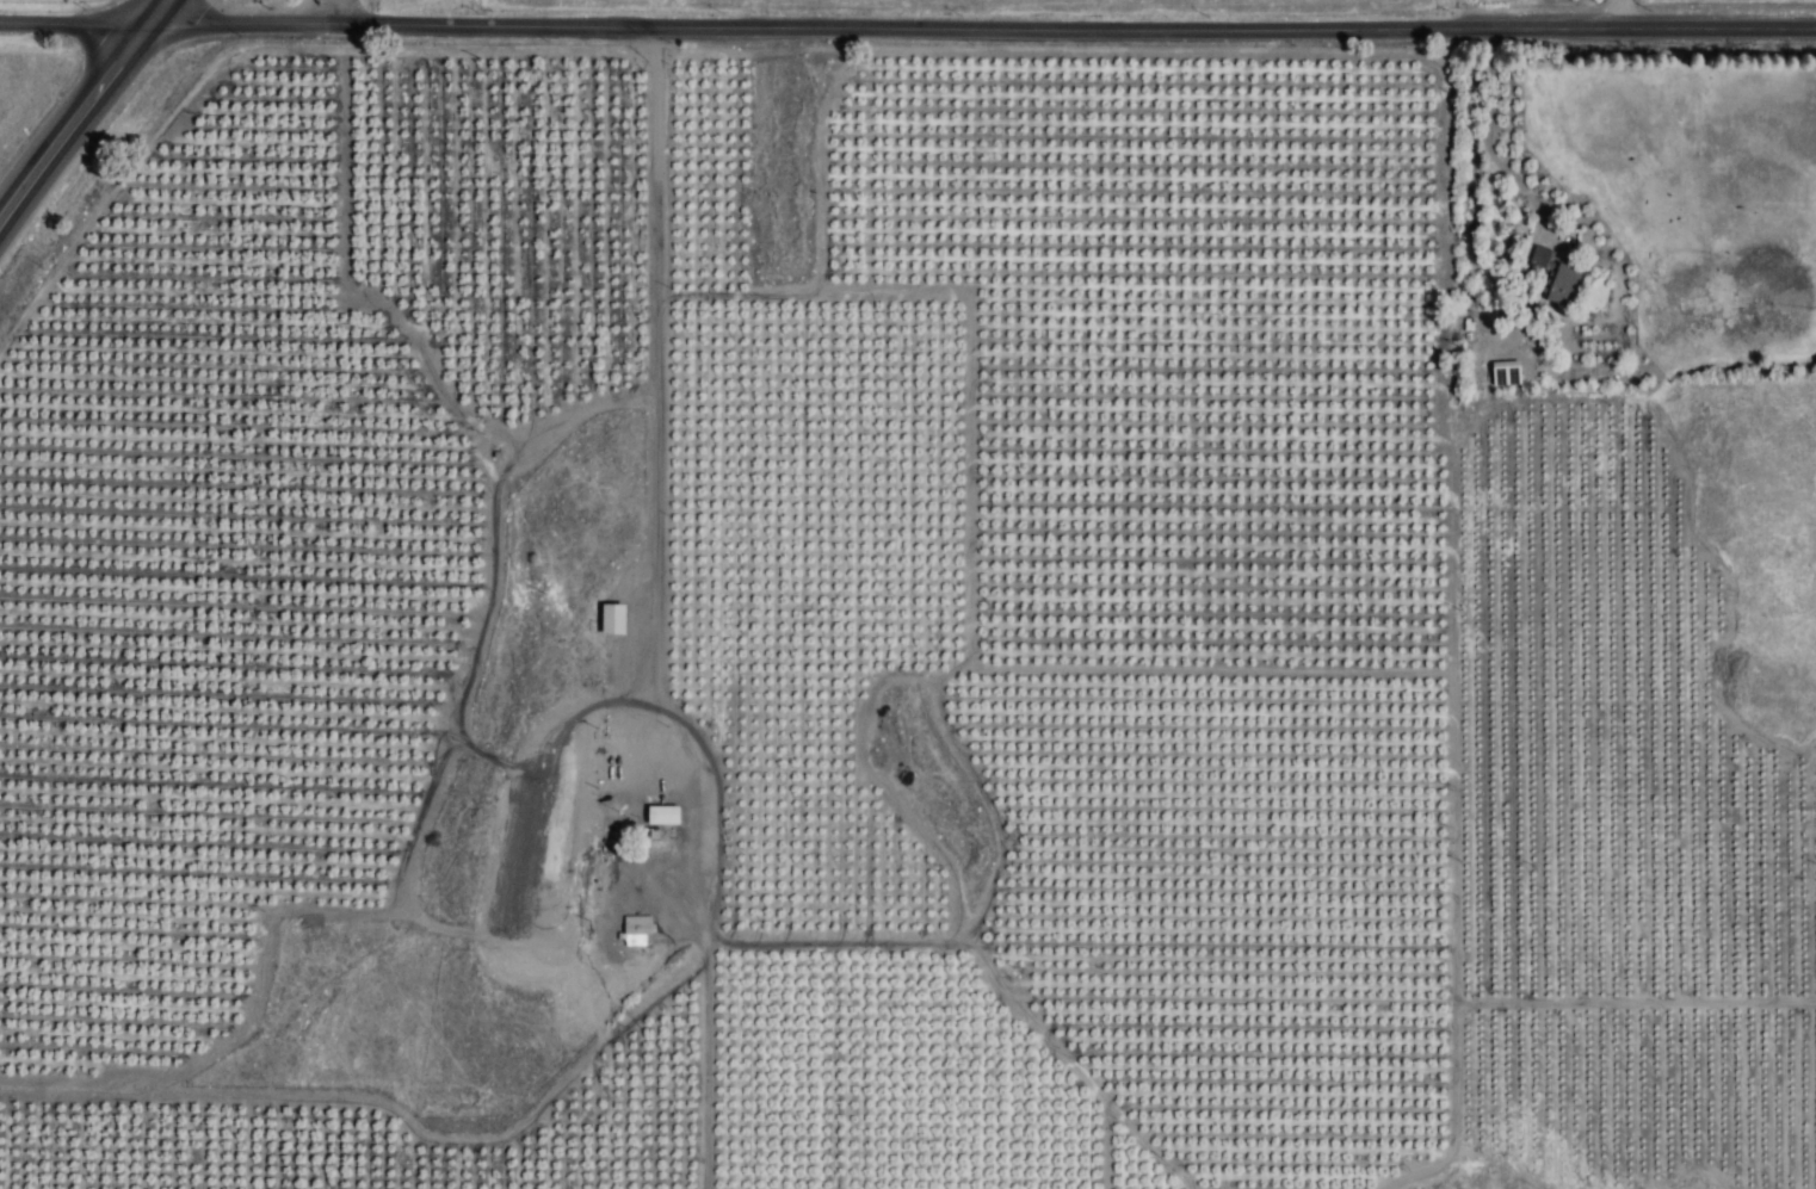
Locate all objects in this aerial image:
crop: (1650, 2)
crop: (154, 36)
road: (907, 41)
road: (82, 110)
building: (1562, 283)
building: (54, 459)
road: (656, 490)
crop: (929, 611)
building: (612, 620)
building: (662, 816)
building: (636, 931)
building: (877, 1114)

